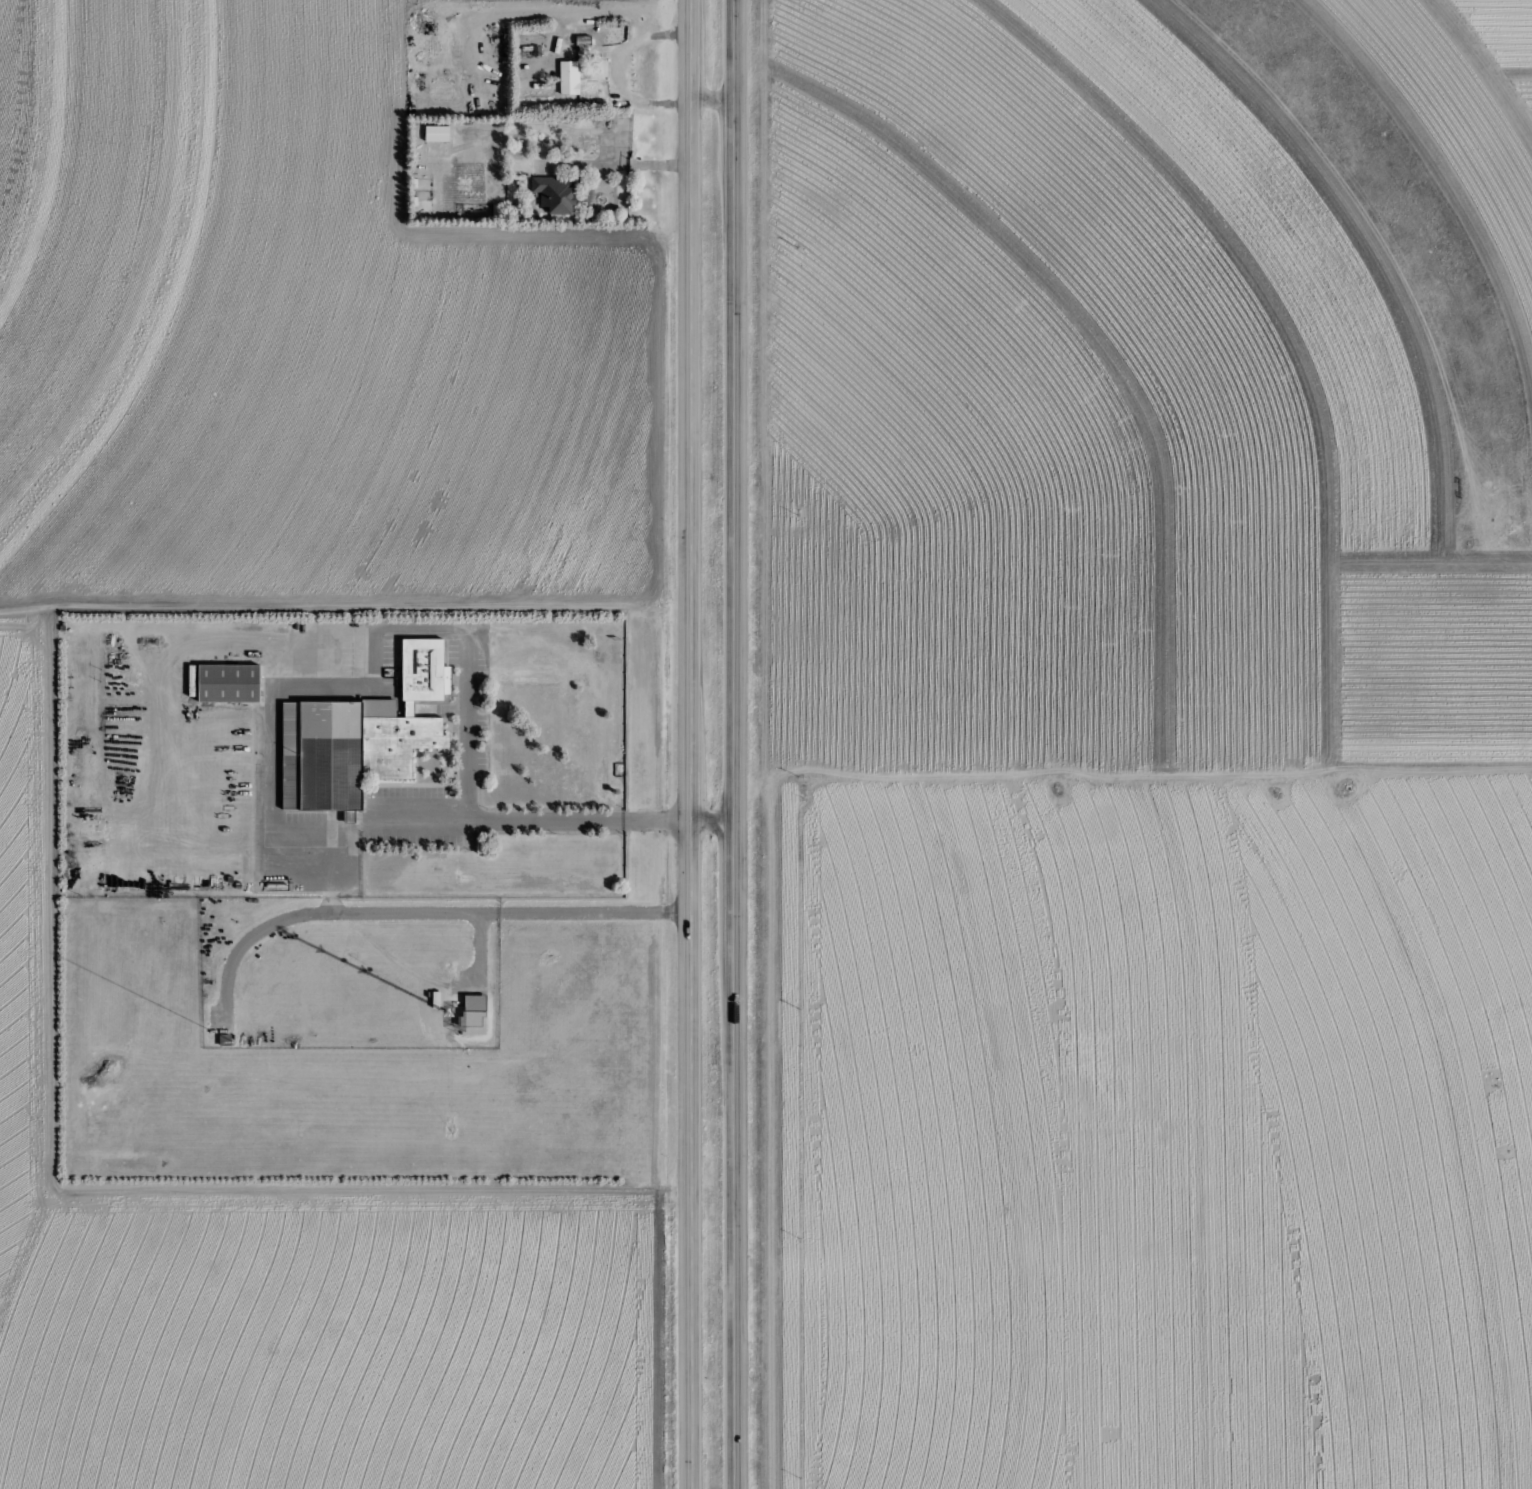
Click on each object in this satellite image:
road: (617, 67)
building: (570, 78)
building: (438, 134)
road: (621, 160)
building: (557, 194)
building: (232, 683)
road: (698, 744)
road: (742, 744)
road: (447, 808)
road: (430, 913)
building: (477, 1003)

